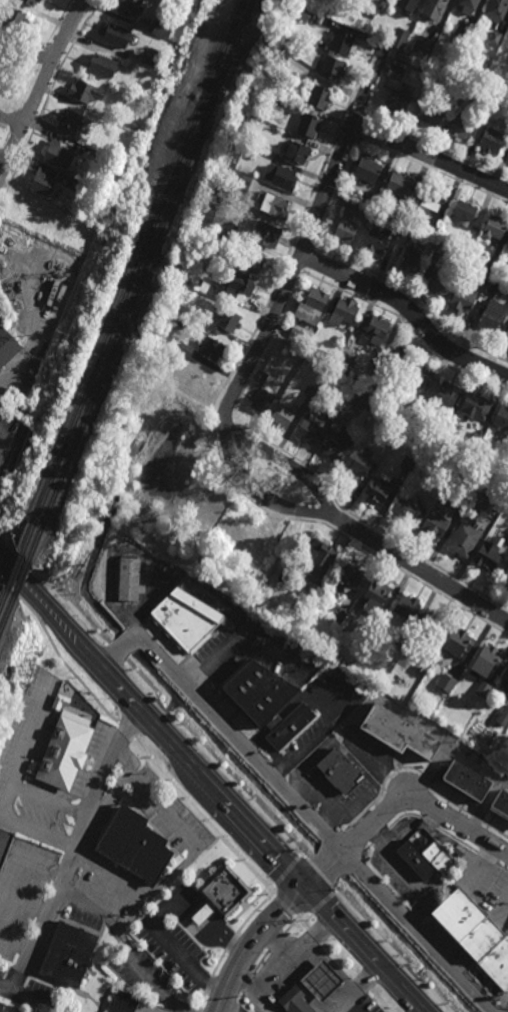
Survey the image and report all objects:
building: (378, 0)
building: (29, 2)
building: (187, 5)
building: (408, 7)
building: (469, 7)
building: (130, 8)
building: (436, 9)
building: (375, 11)
building: (496, 12)
building: (14, 18)
building: (322, 22)
building: (163, 28)
building: (118, 35)
building: (464, 35)
building: (178, 36)
building: (400, 38)
building: (494, 40)
building: (343, 43)
building: (171, 45)
building: (423, 47)
road: (26, 57)
building: (154, 58)
building: (104, 66)
building: (332, 67)
building: (421, 67)
building: (395, 72)
building: (435, 75)
road: (39, 86)
power tower: (163, 87)
building: (465, 89)
building: (86, 91)
building: (319, 96)
building: (399, 99)
building: (494, 99)
building: (279, 100)
building: (433, 111)
building: (73, 120)
road: (10, 121)
building: (308, 124)
building: (136, 125)
building: (462, 126)
building: (491, 138)
building: (296, 152)
building: (58, 154)
building: (255, 154)
road: (431, 158)
building: (281, 176)
building: (370, 177)
building: (68, 181)
building: (244, 182)
building: (45, 183)
building: (400, 183)
building: (236, 189)
building: (434, 197)
building: (272, 204)
building: (465, 208)
building: (29, 211)
building: (405, 212)
building: (208, 213)
building: (348, 222)
building: (436, 225)
building: (398, 226)
building: (494, 226)
building: (86, 231)
building: (408, 231)
building: (473, 232)
building: (266, 233)
road: (308, 235)
building: (225, 236)
building: (376, 241)
building: (440, 245)
building: (507, 245)
railway: (140, 258)
building: (413, 258)
building: (253, 259)
railway: (148, 262)
building: (489, 266)
building: (203, 268)
building: (196, 280)
building: (442, 281)
building: (236, 286)
building: (493, 286)
building: (463, 296)
building: (312, 305)
road: (409, 310)
building: (344, 311)
building: (490, 318)
building: (225, 322)
building: (182, 324)
building: (378, 328)
power tower: (63, 332)
building: (296, 333)
building: (505, 336)
building: (316, 344)
building: (8, 346)
building: (210, 346)
building: (186, 349)
building: (294, 354)
building: (400, 356)
building: (346, 365)
building: (421, 374)
road: (8, 376)
building: (166, 377)
building: (194, 378)
building: (311, 392)
building: (448, 393)
building: (261, 399)
building: (363, 399)
building: (475, 405)
building: (417, 409)
building: (333, 412)
building: (281, 416)
building: (501, 417)
building: (447, 427)
building: (308, 431)
building: (478, 439)
building: (336, 447)
building: (502, 452)
building: (359, 462)
building: (409, 463)
road: (282, 466)
building: (491, 471)
road: (168, 479)
building: (379, 490)
road: (254, 492)
building: (461, 496)
building: (478, 502)
building: (408, 507)
building: (436, 526)
building: (464, 539)
building: (489, 553)
building: (321, 558)
railway: (18, 561)
road: (421, 569)
railway: (23, 574)
building: (352, 576)
building: (129, 578)
building: (505, 579)
building: (313, 591)
building: (376, 595)
building: (408, 608)
road: (143, 613)
building: (340, 614)
building: (184, 618)
building: (432, 626)
railway: (2, 627)
road: (135, 630)
building: (460, 641)
building: (487, 659)
building: (424, 665)
building: (504, 681)
building: (448, 683)
building: (483, 688)
building: (258, 692)
building: (63, 703)
building: (503, 715)
building: (288, 725)
building: (397, 732)
building: (64, 753)
road: (125, 757)
road: (111, 760)
building: (33, 767)
building: (341, 770)
road: (126, 777)
building: (465, 781)
road: (210, 786)
road: (398, 803)
building: (500, 803)
road: (262, 805)
road: (297, 806)
building: (5, 845)
building: (133, 845)
building: (439, 859)
building: (415, 862)
road: (181, 867)
traffic signals: (307, 890)
road: (59, 895)
building: (221, 895)
road: (203, 913)
building: (467, 926)
road: (225, 936)
road: (314, 939)
road: (166, 942)
road: (252, 944)
road: (125, 949)
road: (399, 950)
building: (69, 954)
building: (497, 964)
road: (280, 972)
road: (342, 975)
road: (18, 979)
building: (322, 981)
road: (9, 988)
road: (31, 1000)
building: (296, 1001)
building: (131, 1004)
building: (1, 1006)

